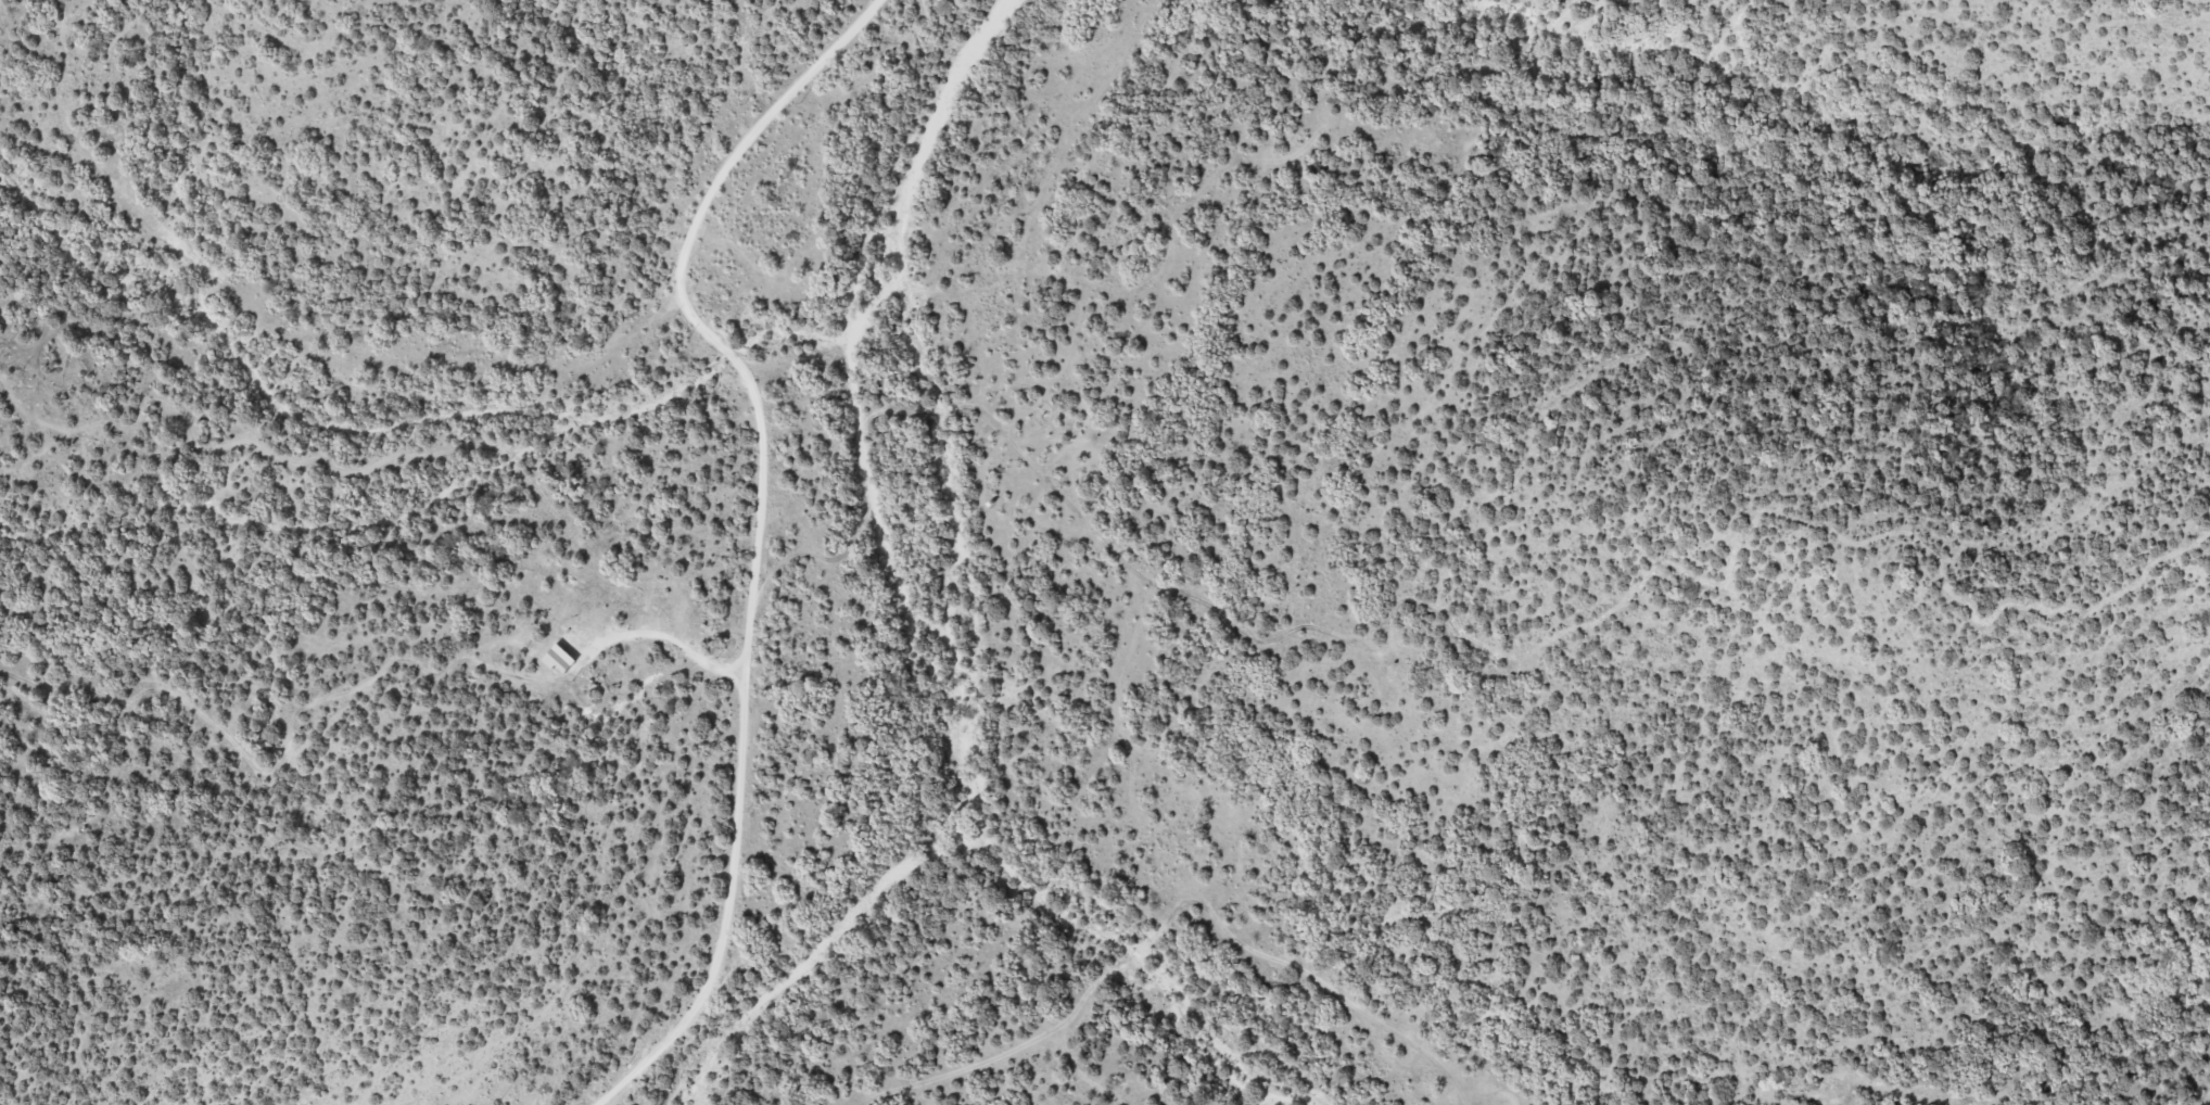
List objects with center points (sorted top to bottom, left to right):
road: (761, 531)

